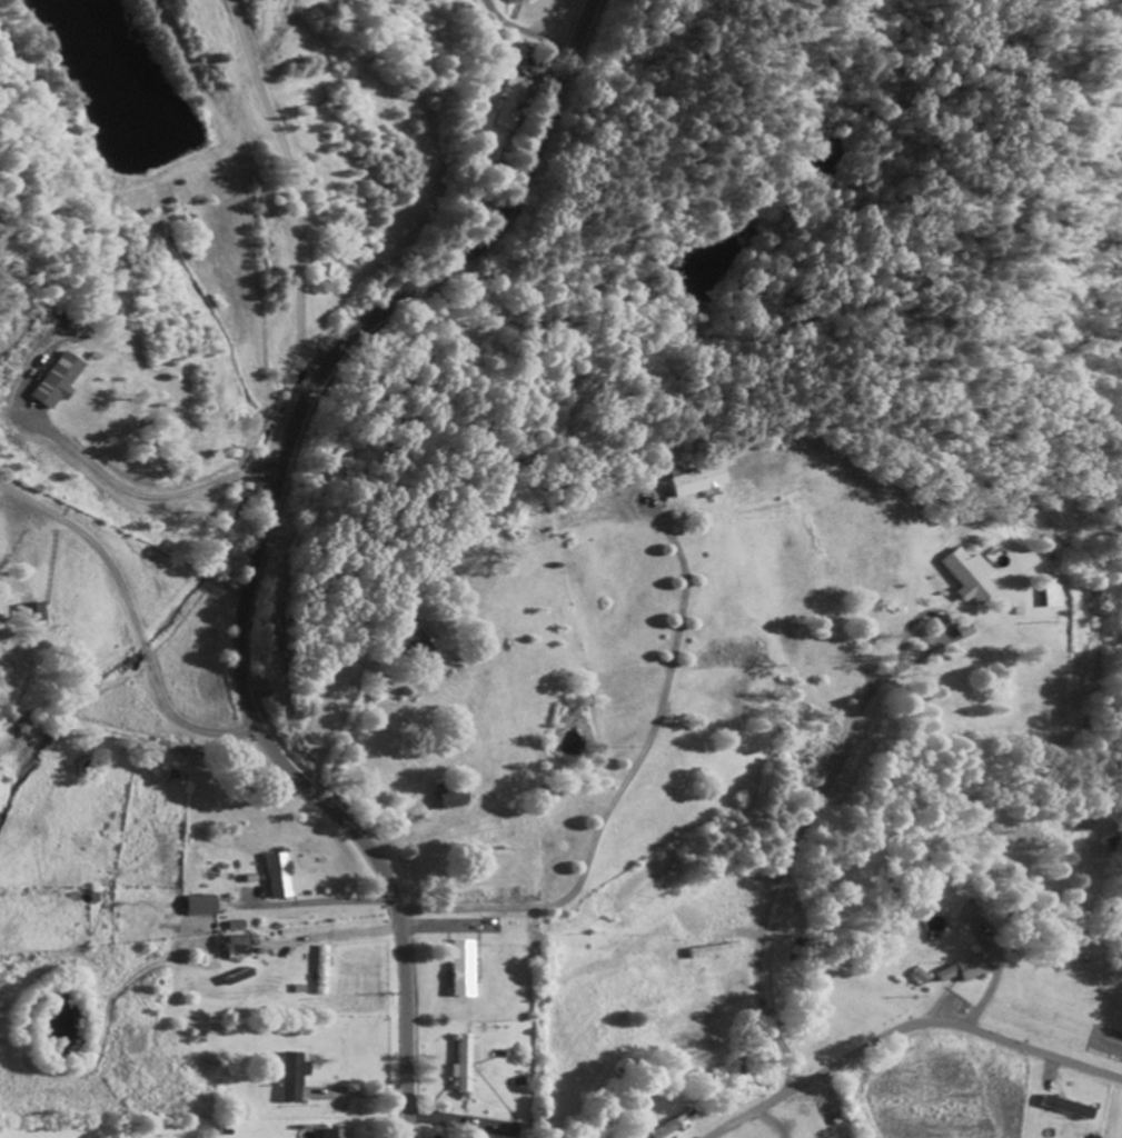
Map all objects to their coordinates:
building: (508, 101)
building: (50, 383)
building: (688, 482)
road: (260, 538)
building: (962, 580)
building: (1044, 595)
building: (960, 632)
building: (409, 641)
building: (446, 800)
building: (274, 878)
building: (197, 908)
building: (962, 919)
building: (229, 948)
building: (708, 954)
building: (456, 971)
building: (959, 971)
building: (316, 972)
road: (904, 1029)
building: (458, 1066)
building: (287, 1079)
building: (1062, 1110)
building: (673, 1125)
building: (328, 1135)

